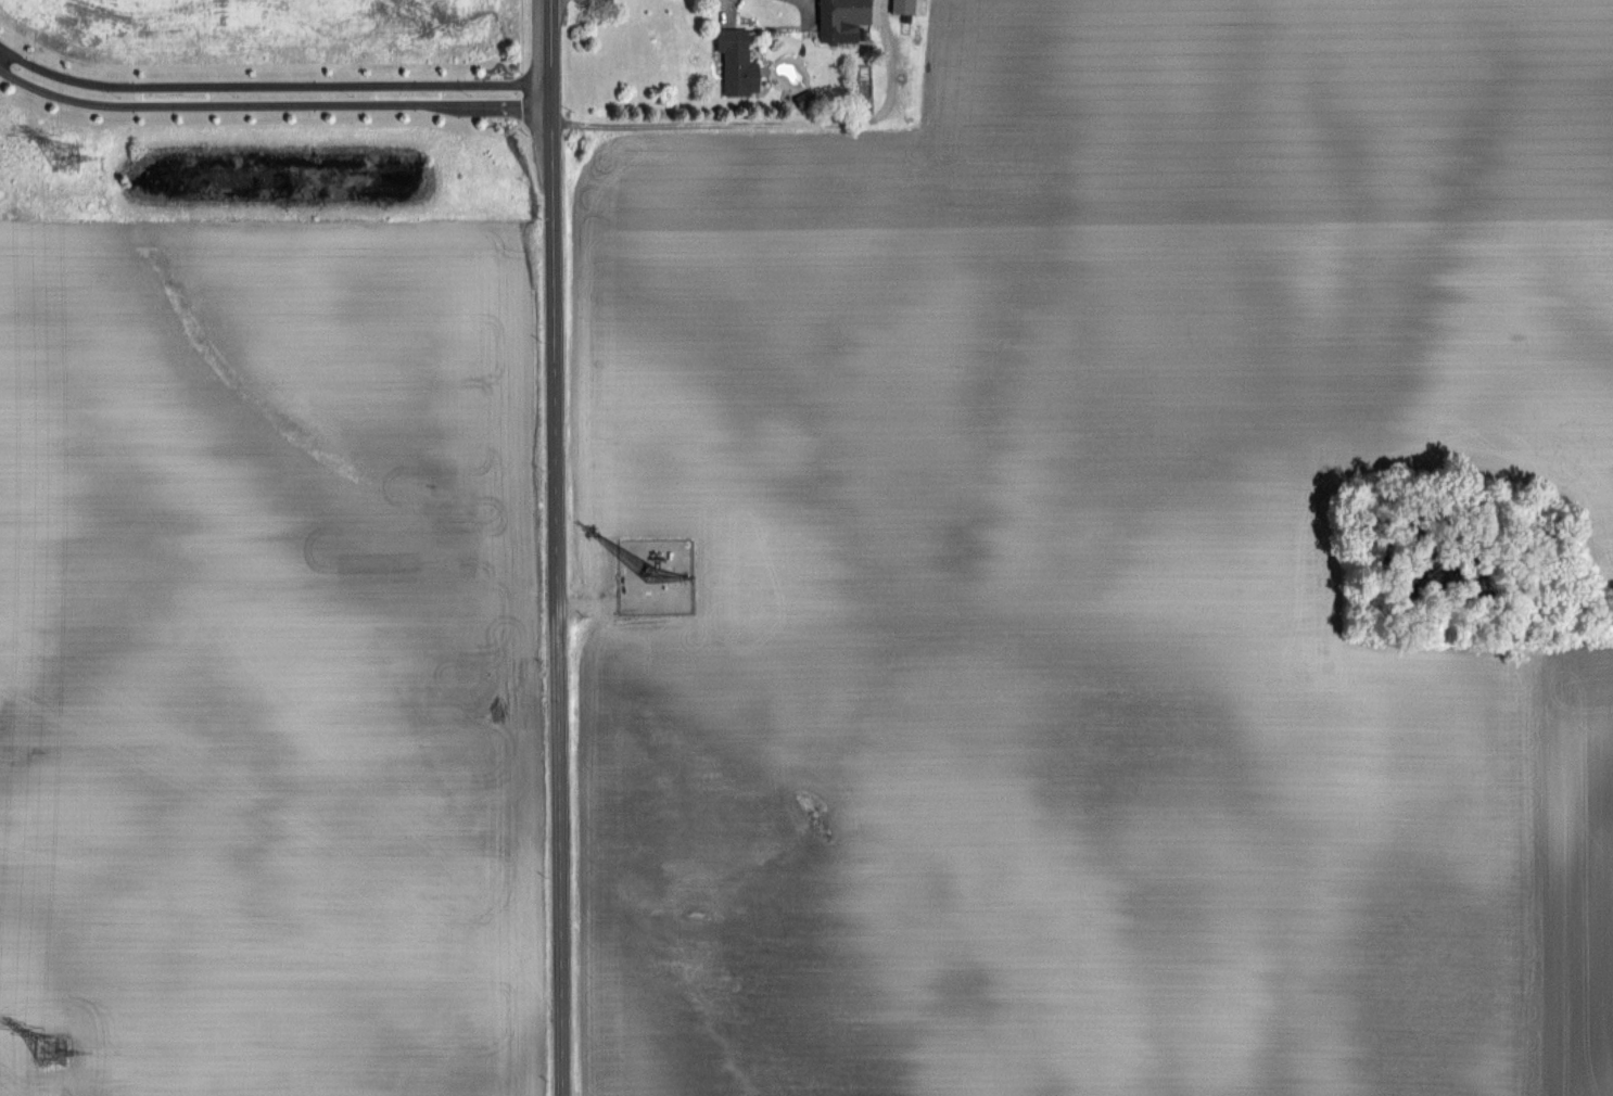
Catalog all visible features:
building: (902, 7)
building: (841, 18)
building: (737, 61)
road: (274, 85)
building: (802, 98)
road: (275, 104)
road: (777, 126)
power tower: (65, 157)
road: (559, 547)
power tower: (52, 1050)

